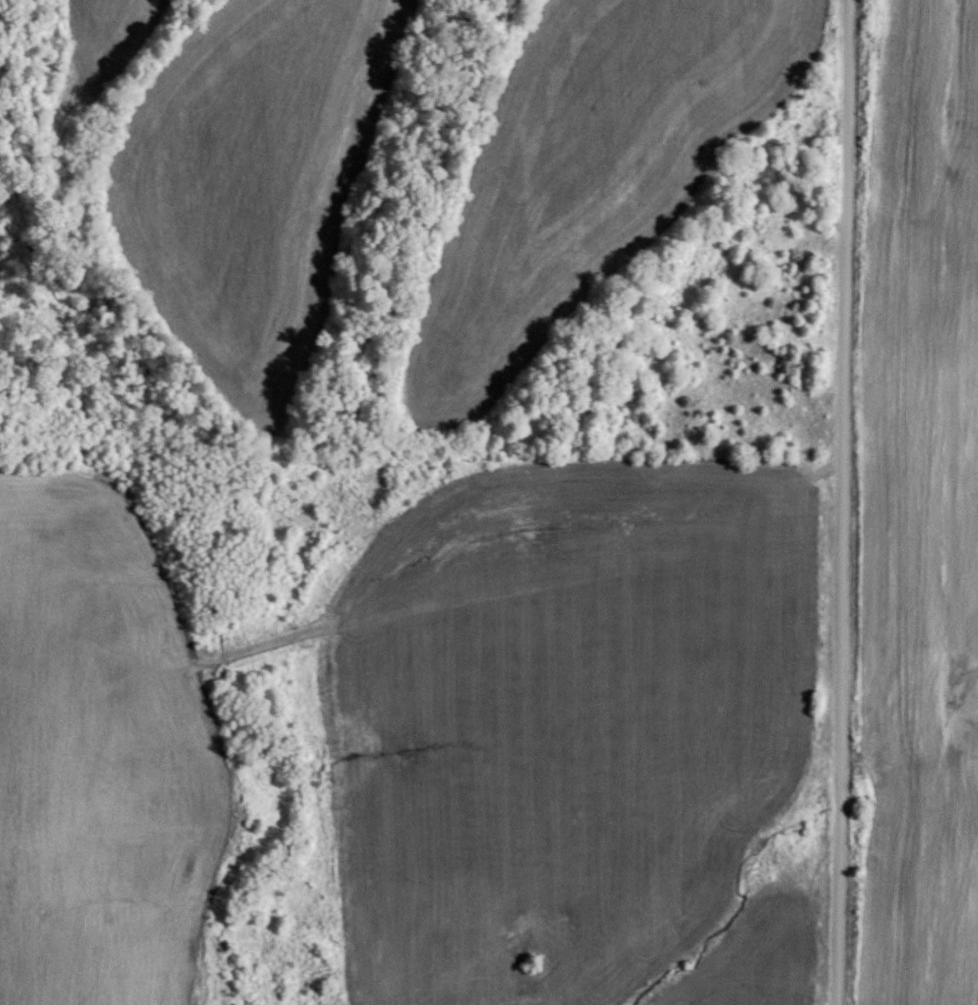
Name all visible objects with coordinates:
road: (850, 502)

